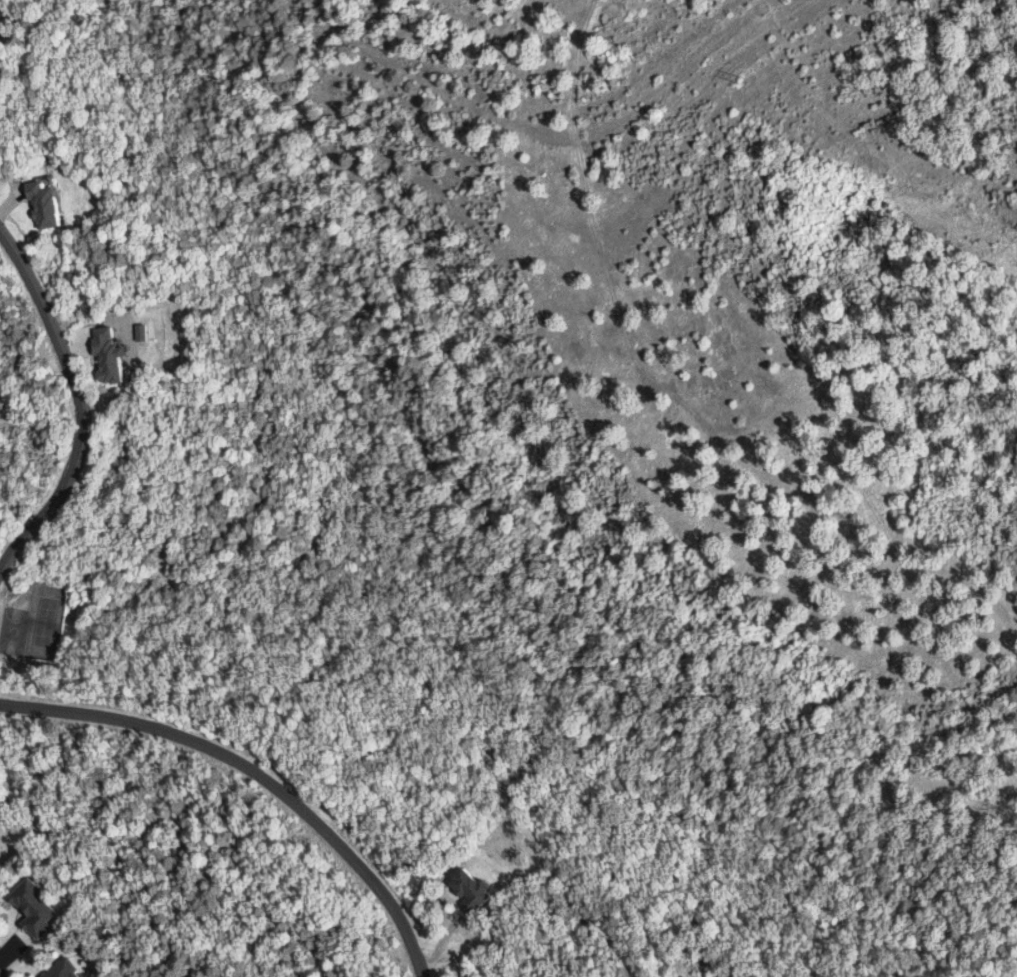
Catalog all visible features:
power tower: (739, 79)
building: (53, 205)
building: (117, 354)
road: (77, 399)
road: (258, 769)
building: (466, 888)
building: (39, 908)
building: (60, 971)

